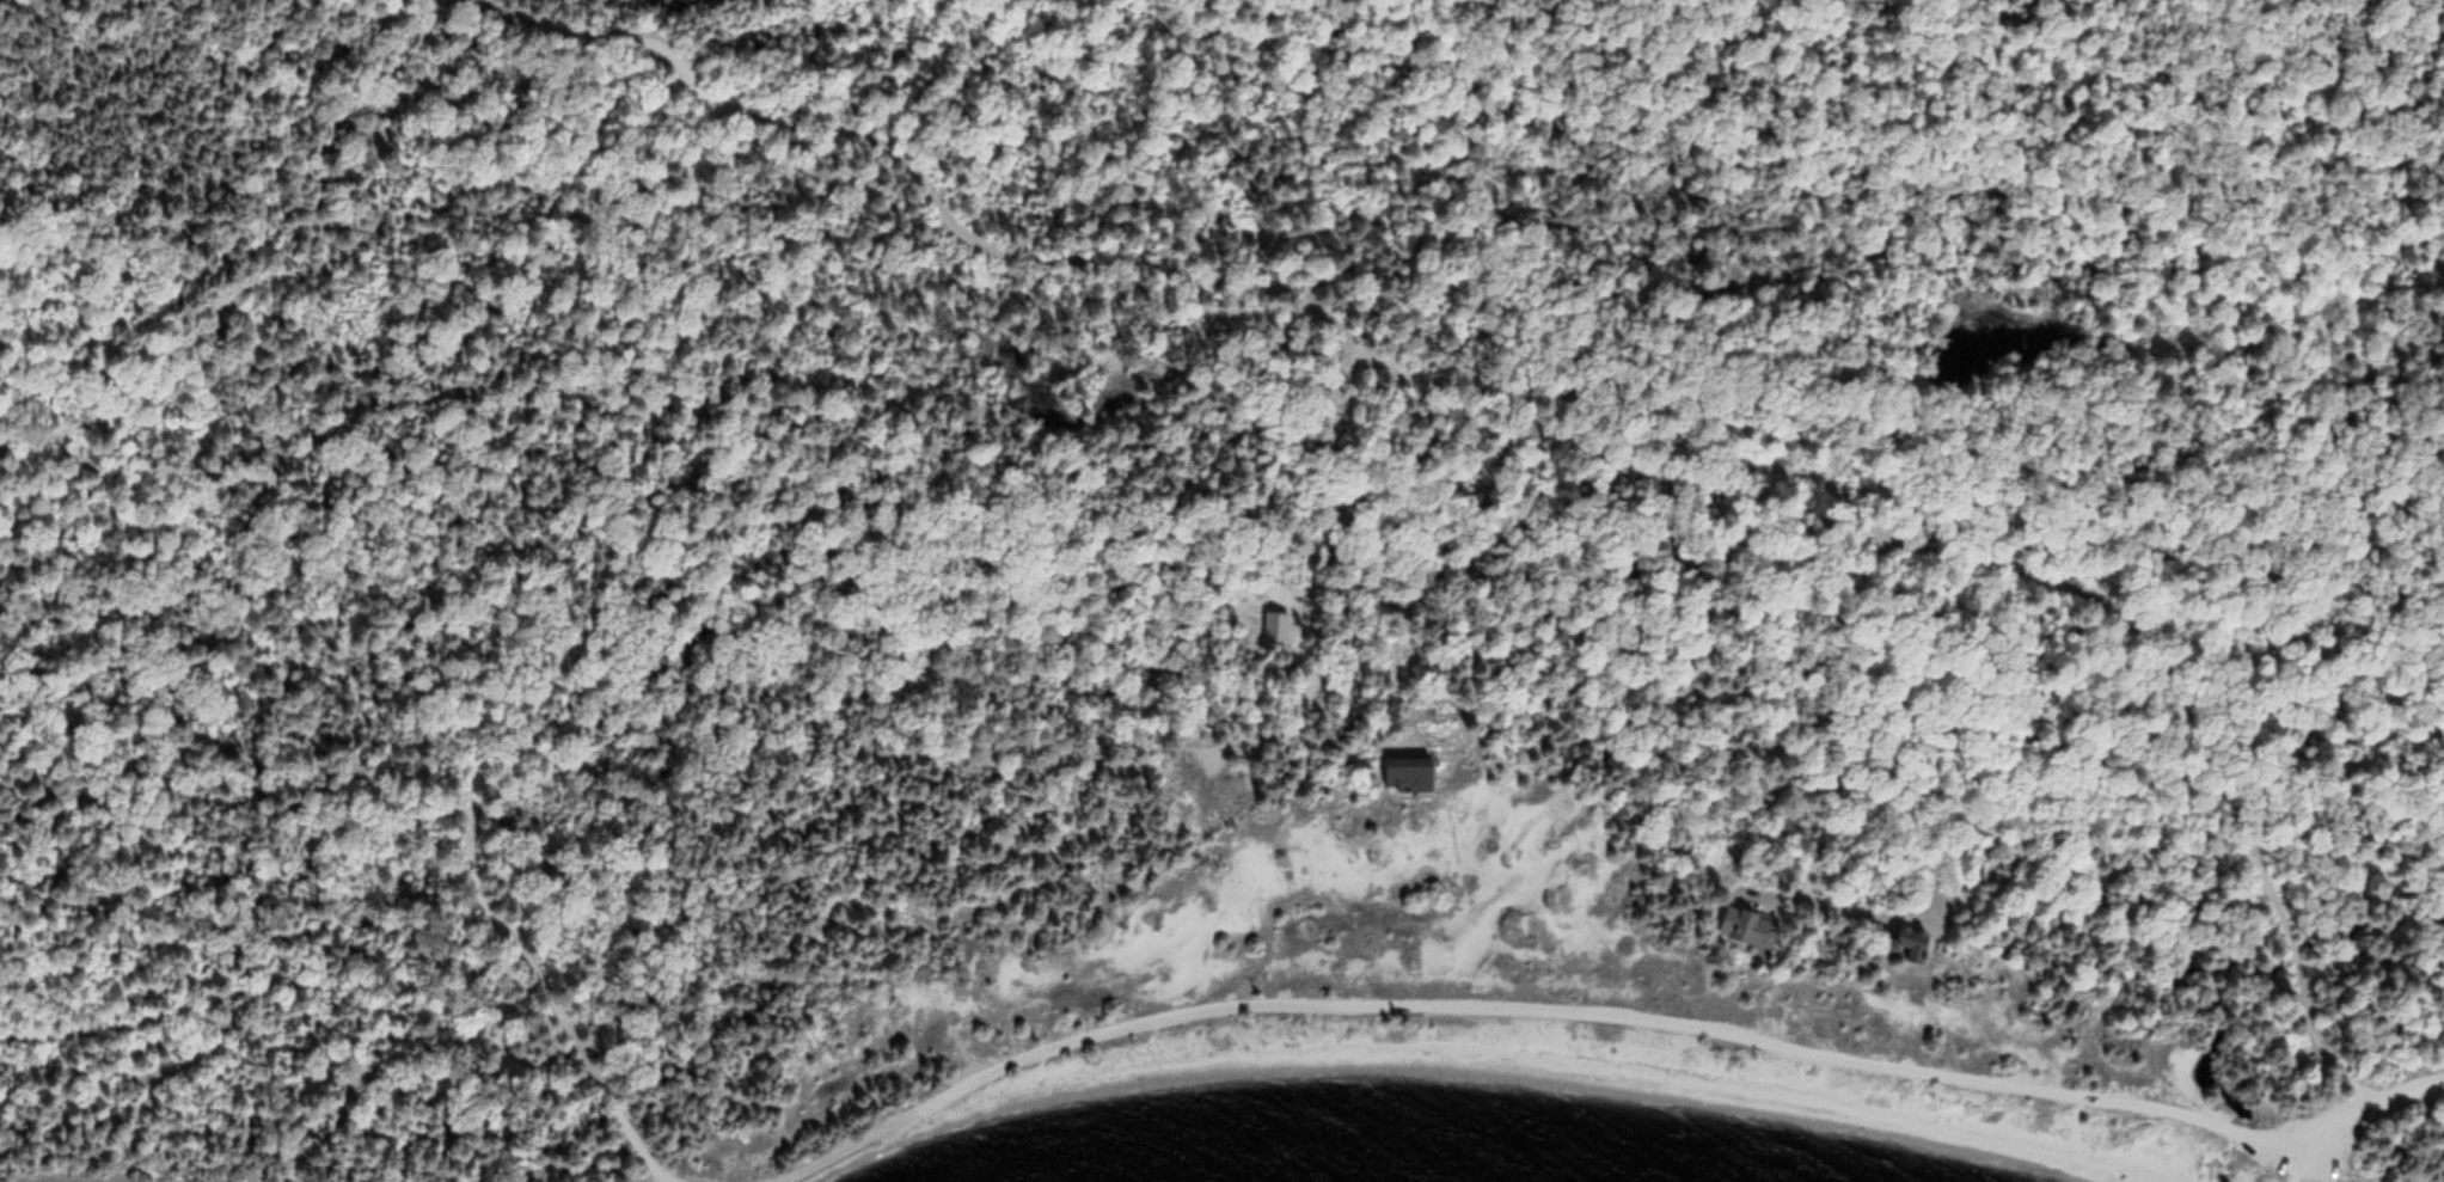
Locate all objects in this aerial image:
road: (1673, 436)
road: (617, 544)
building: (1409, 776)
building: (1912, 945)
road: (263, 996)
road: (1609, 1023)

